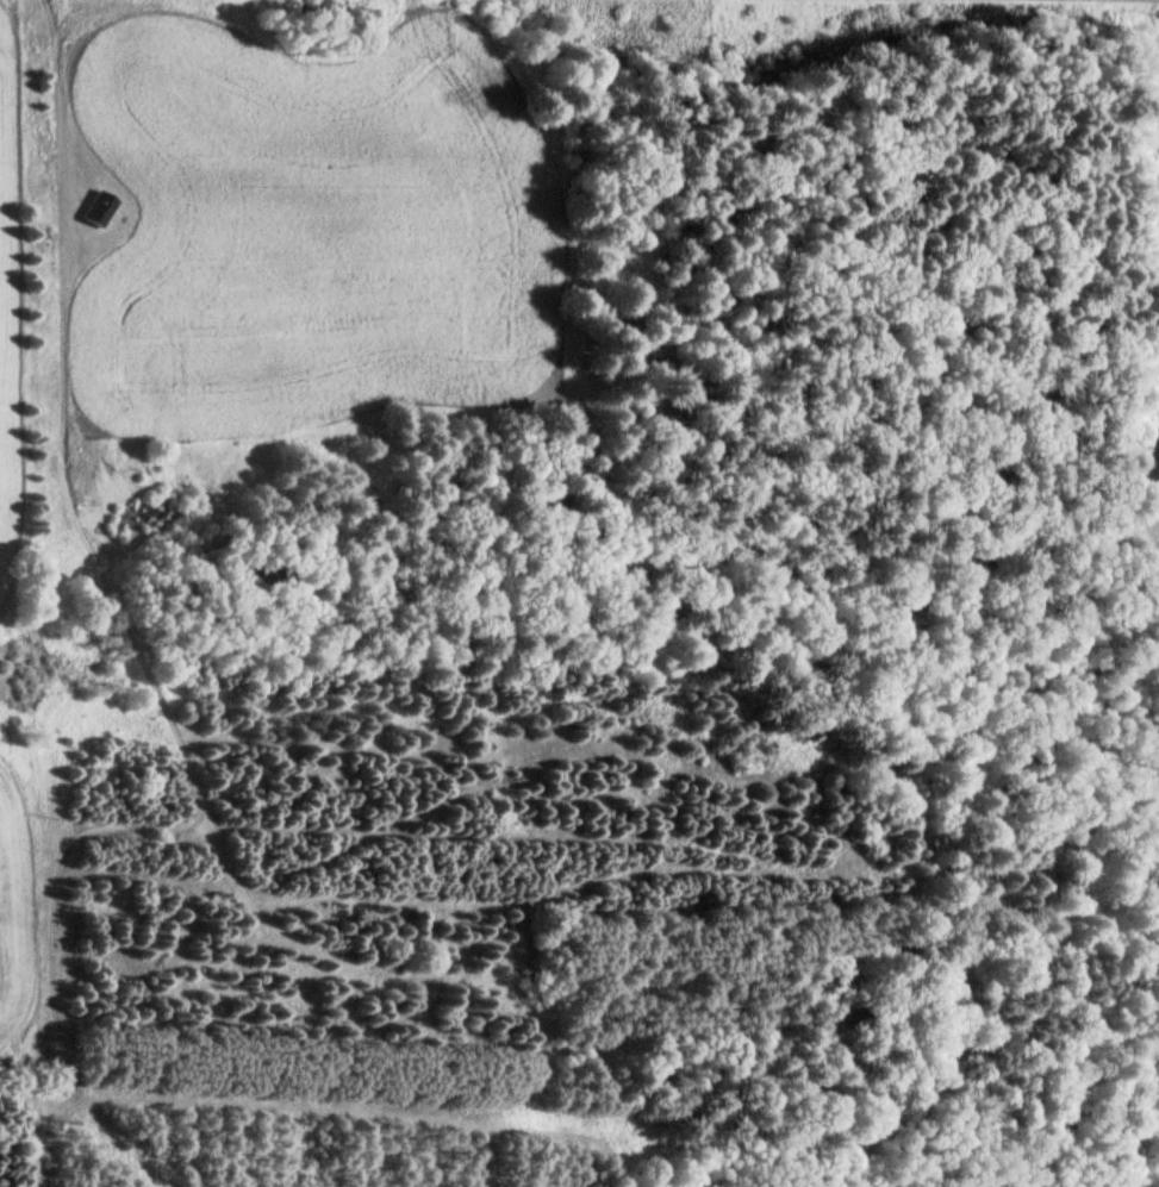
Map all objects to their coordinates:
building: (102, 210)

